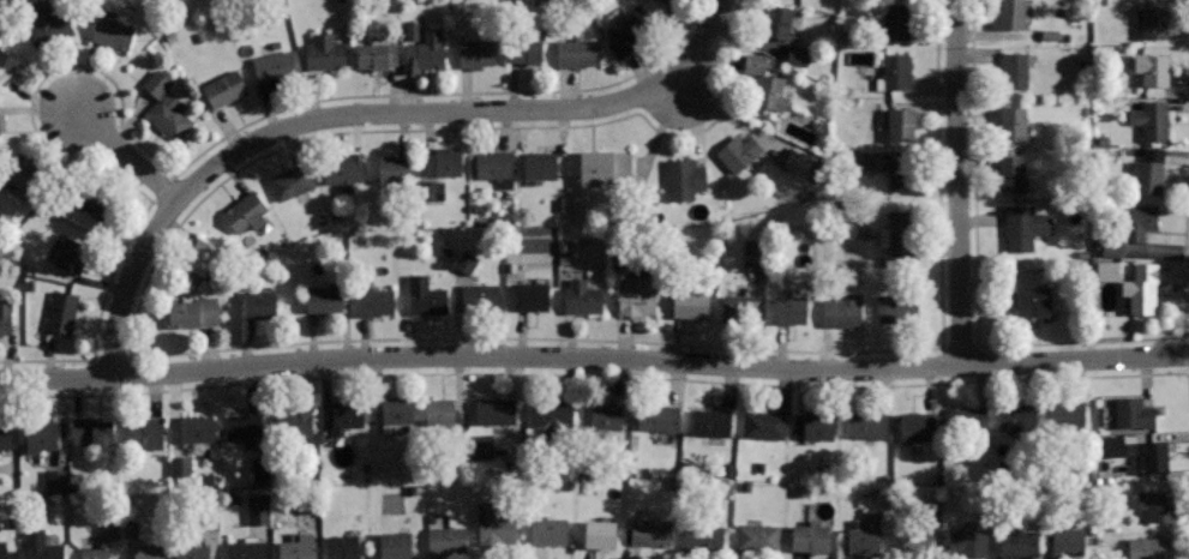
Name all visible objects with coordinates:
building: (668, 1)
building: (1010, 14)
building: (895, 19)
building: (779, 20)
building: (1153, 22)
building: (50, 26)
building: (626, 30)
building: (112, 32)
road: (701, 38)
building: (526, 44)
building: (475, 50)
building: (325, 52)
building: (425, 52)
building: (377, 53)
building: (577, 53)
building: (794, 55)
building: (274, 67)
building: (6, 68)
building: (1152, 68)
building: (896, 71)
building: (1015, 71)
building: (765, 82)
building: (224, 88)
building: (166, 106)
road: (320, 119)
building: (1154, 121)
building: (901, 124)
building: (1013, 124)
road: (142, 148)
building: (738, 151)
road: (126, 155)
building: (442, 161)
building: (795, 161)
building: (496, 164)
building: (540, 164)
building: (607, 164)
building: (394, 168)
building: (343, 169)
building: (1149, 169)
building: (1010, 172)
building: (24, 173)
building: (899, 173)
building: (684, 178)
building: (290, 181)
road: (960, 181)
building: (431, 190)
building: (100, 204)
building: (245, 211)
building: (1137, 221)
building: (1023, 228)
building: (899, 234)
building: (1109, 250)
building: (72, 254)
building: (746, 256)
building: (203, 257)
building: (463, 263)
building: (1105, 271)
building: (636, 293)
building: (425, 295)
building: (532, 295)
building: (582, 296)
building: (1142, 296)
building: (324, 297)
building: (480, 297)
building: (376, 301)
building: (1033, 301)
building: (690, 302)
building: (260, 303)
building: (896, 307)
building: (737, 308)
building: (792, 309)
building: (62, 311)
building: (842, 311)
building: (193, 312)
building: (6, 317)
road: (991, 343)
road: (282, 345)
road: (594, 357)
road: (605, 375)
building: (496, 409)
building: (396, 410)
building: (440, 410)
building: (1134, 411)
building: (347, 414)
building: (552, 415)
building: (1064, 415)
building: (605, 416)
building: (657, 416)
building: (1016, 416)
building: (967, 419)
building: (710, 422)
building: (813, 423)
building: (867, 423)
building: (244, 425)
building: (764, 425)
building: (294, 426)
building: (915, 426)
building: (198, 428)
building: (92, 431)
building: (144, 432)
building: (41, 434)
building: (6, 435)
building: (1107, 447)
building: (1154, 456)
building: (178, 467)
building: (54, 480)
building: (1157, 504)
building: (254, 509)
building: (927, 511)
building: (494, 524)
building: (128, 530)
building: (550, 530)
building: (600, 533)
building: (650, 533)
building: (810, 536)
building: (703, 537)
building: (757, 539)
building: (861, 539)
building: (448, 540)
building: (102, 541)
building: (1068, 541)
building: (968, 542)
building: (395, 545)
building: (918, 545)
building: (1019, 545)
building: (42, 546)
building: (343, 546)
building: (299, 547)
building: (1148, 547)
building: (246, 549)
building: (149, 552)
building: (192, 552)
building: (4, 553)

